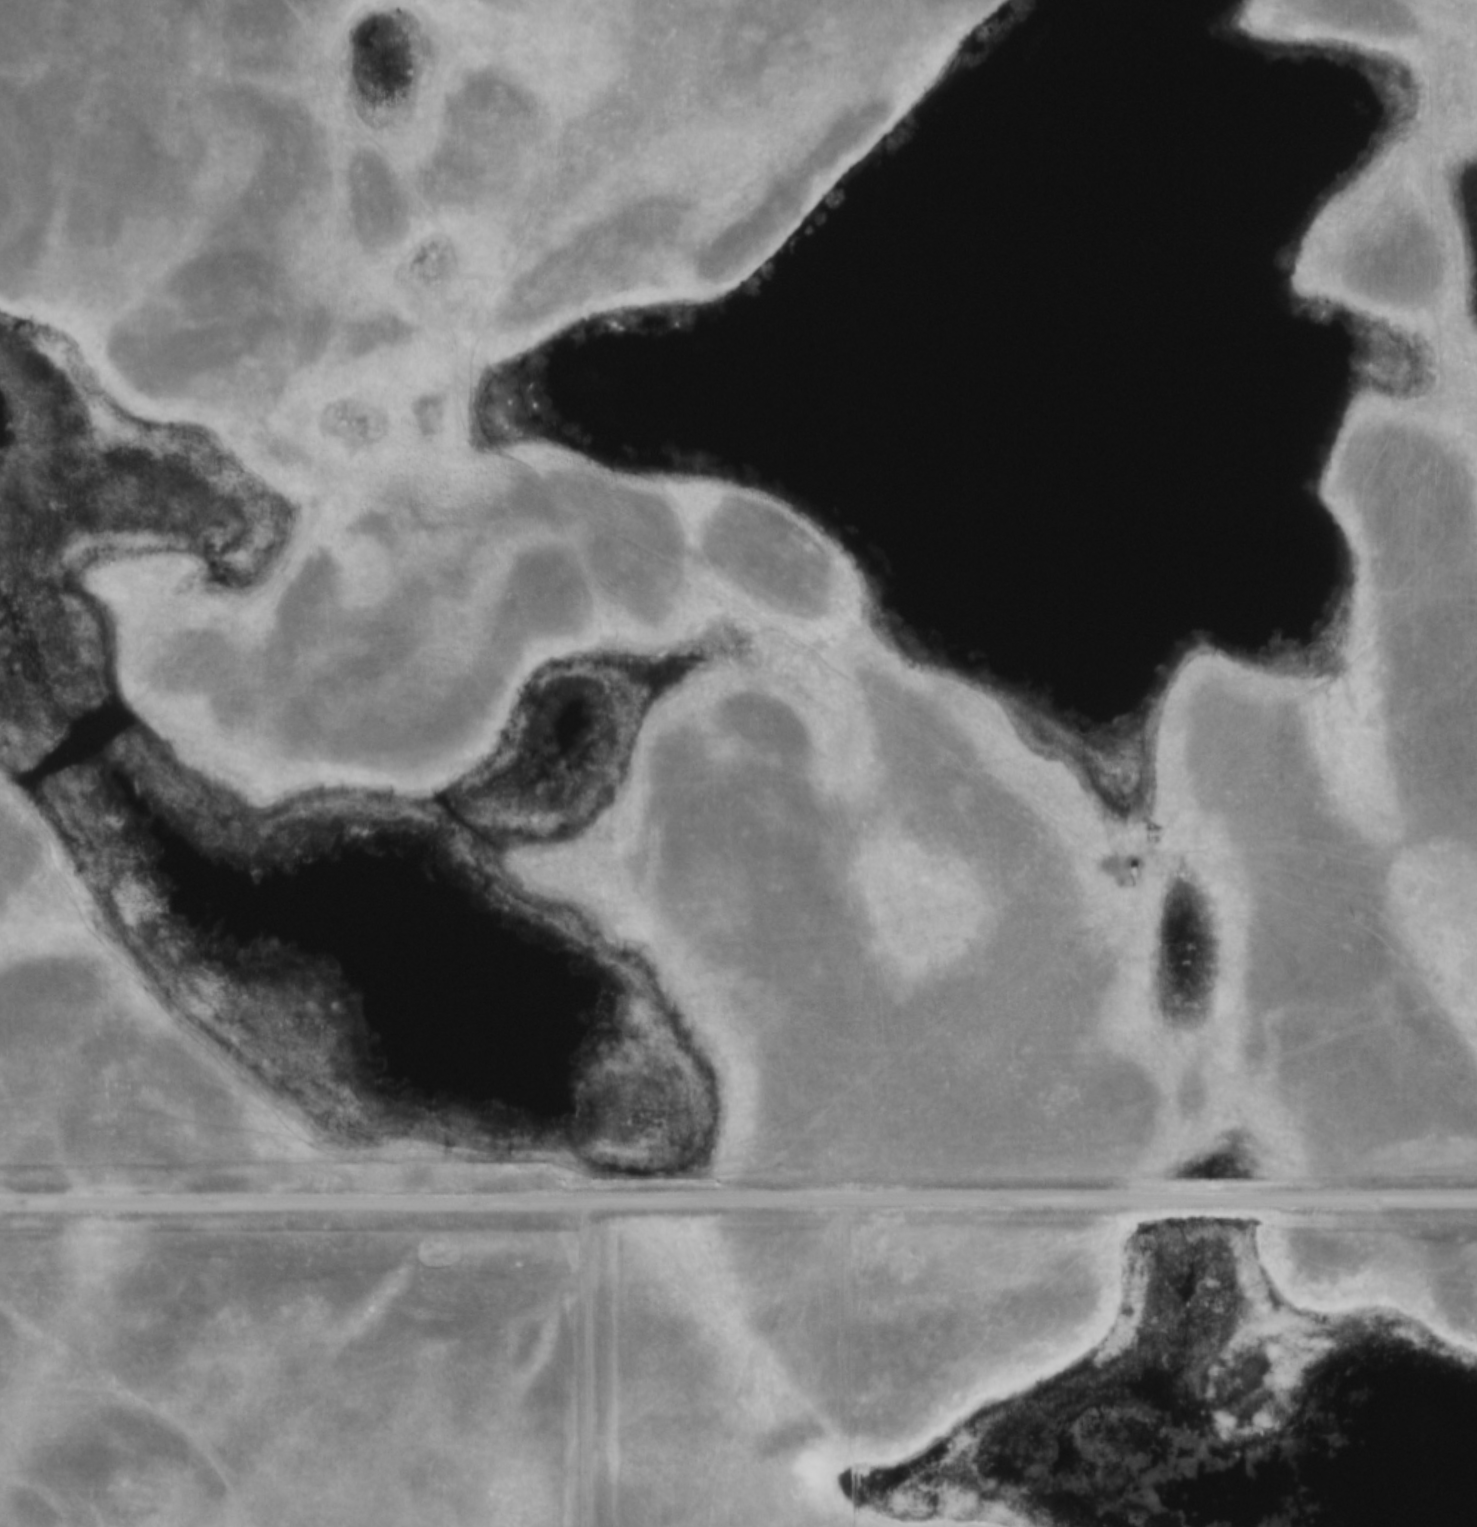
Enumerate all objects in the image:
road: (738, 1201)
road: (554, 1364)

